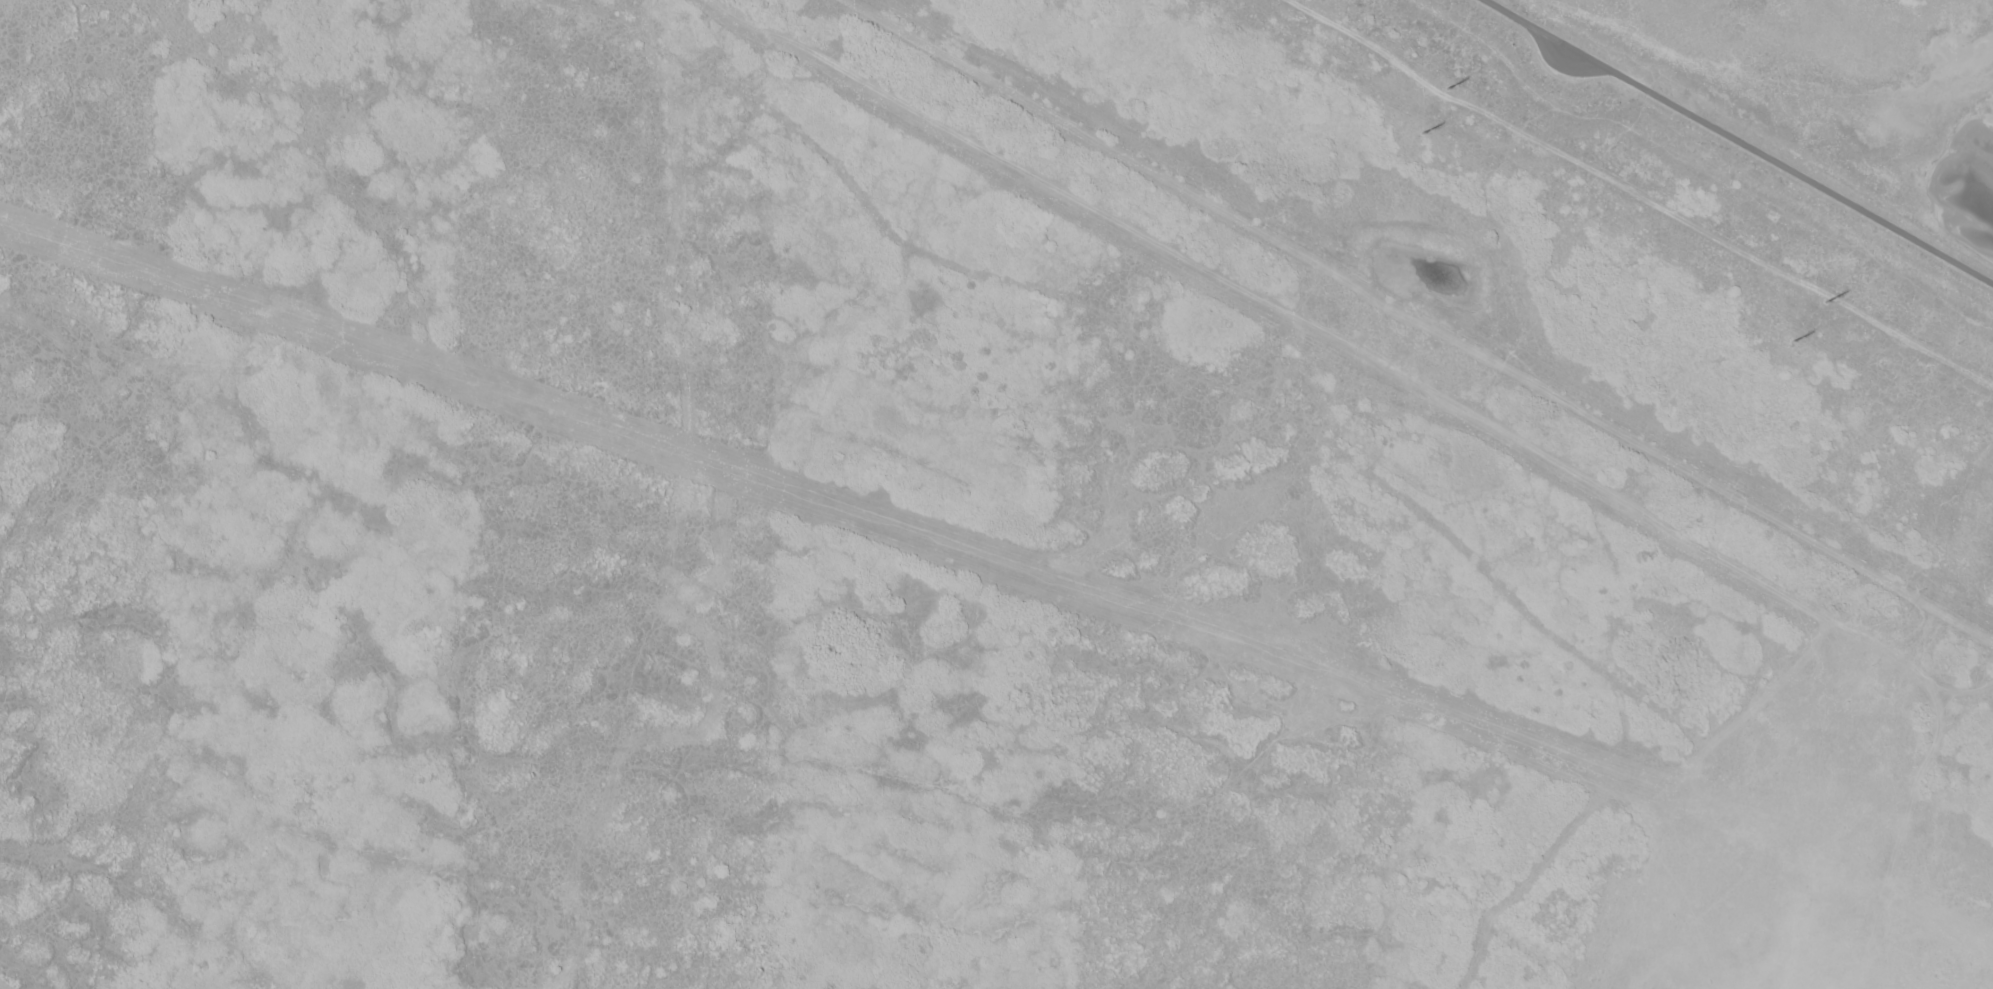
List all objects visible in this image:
power tower: (1447, 84)
power tower: (1423, 131)
road: (1738, 141)
power plant: (1616, 210)
power tower: (1824, 299)
power tower: (1792, 338)

